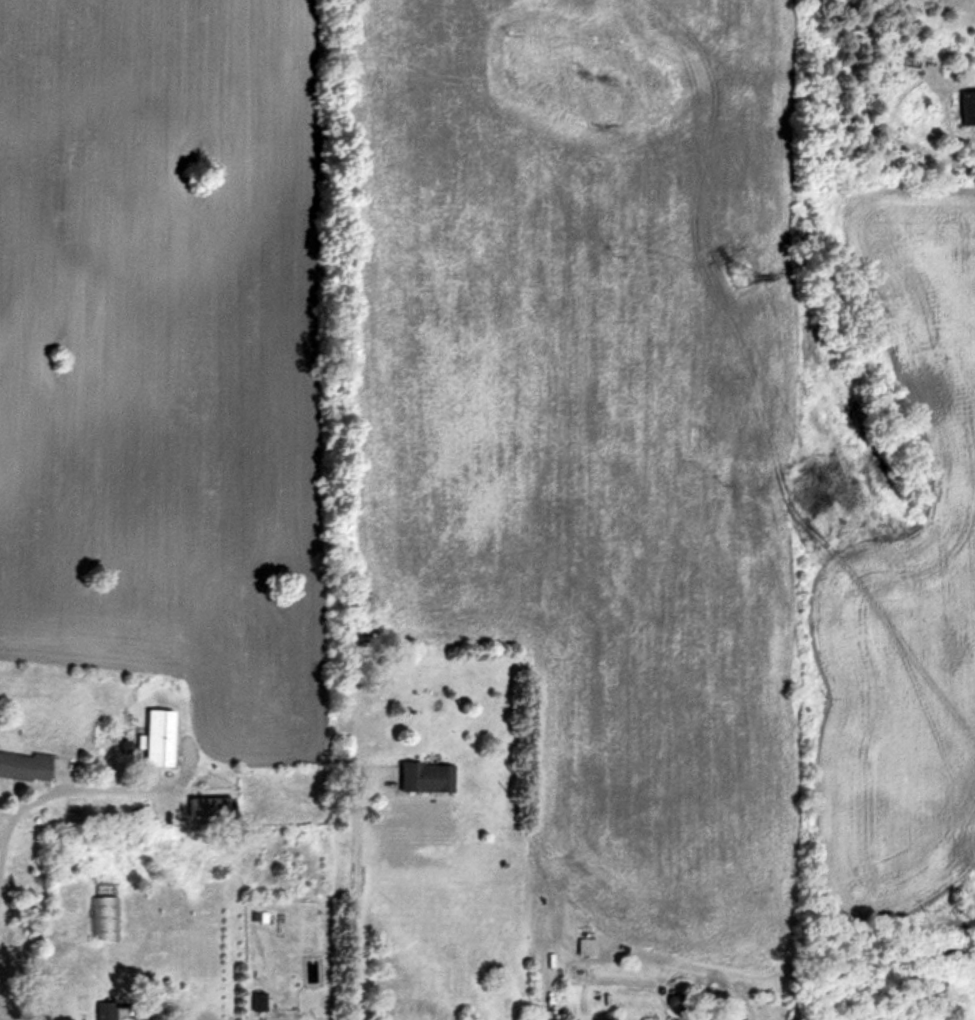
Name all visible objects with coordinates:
building: (964, 106)
power tower: (733, 273)
building: (161, 736)
building: (25, 765)
building: (429, 775)
road: (50, 790)
road: (356, 908)
building: (102, 915)
building: (259, 999)
building: (106, 1009)
building: (306, 1019)
building: (689, 1019)

